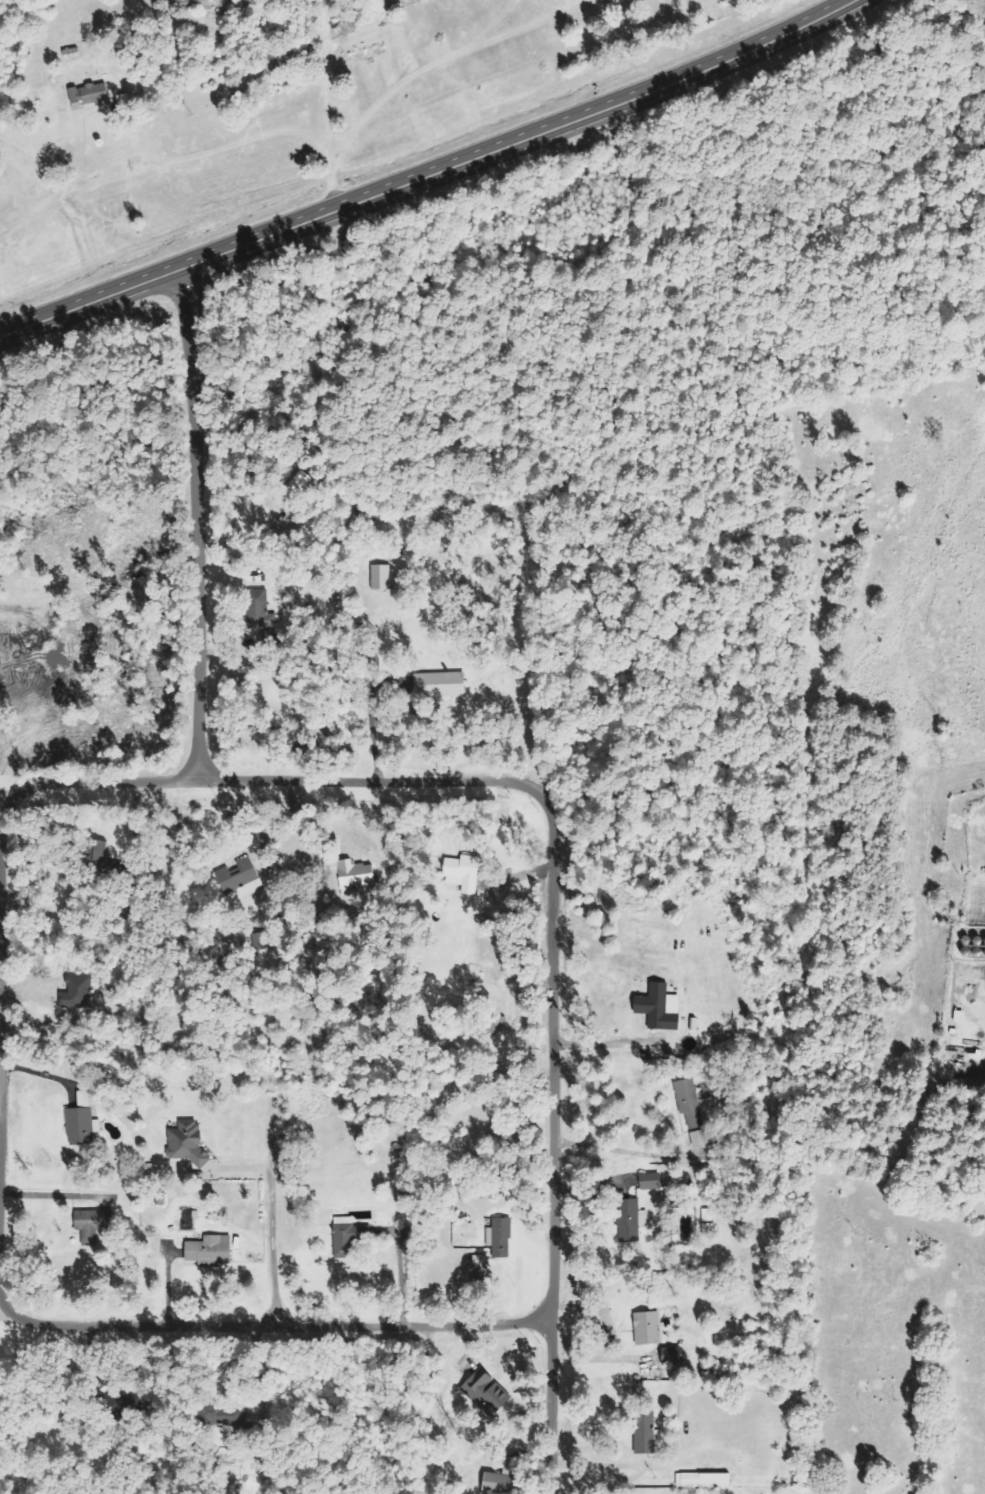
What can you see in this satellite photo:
road: (984, 1)
building: (70, 55)
building: (89, 95)
road: (330, 106)
road: (601, 113)
road: (169, 274)
road: (191, 526)
building: (386, 578)
building: (445, 685)
road: (85, 783)
building: (468, 874)
building: (242, 875)
building: (359, 875)
road: (550, 972)
building: (83, 992)
building: (662, 1009)
road: (979, 1011)
building: (695, 1114)
road: (0, 1121)
building: (84, 1127)
building: (190, 1143)
building: (654, 1182)
building: (409, 1198)
road: (272, 1207)
building: (98, 1225)
building: (503, 1232)
building: (351, 1240)
building: (215, 1251)
building: (483, 1262)
road: (267, 1327)
building: (646, 1327)
building: (670, 1356)
building: (483, 1392)
building: (645, 1432)
building: (702, 1480)
building: (495, 1483)

